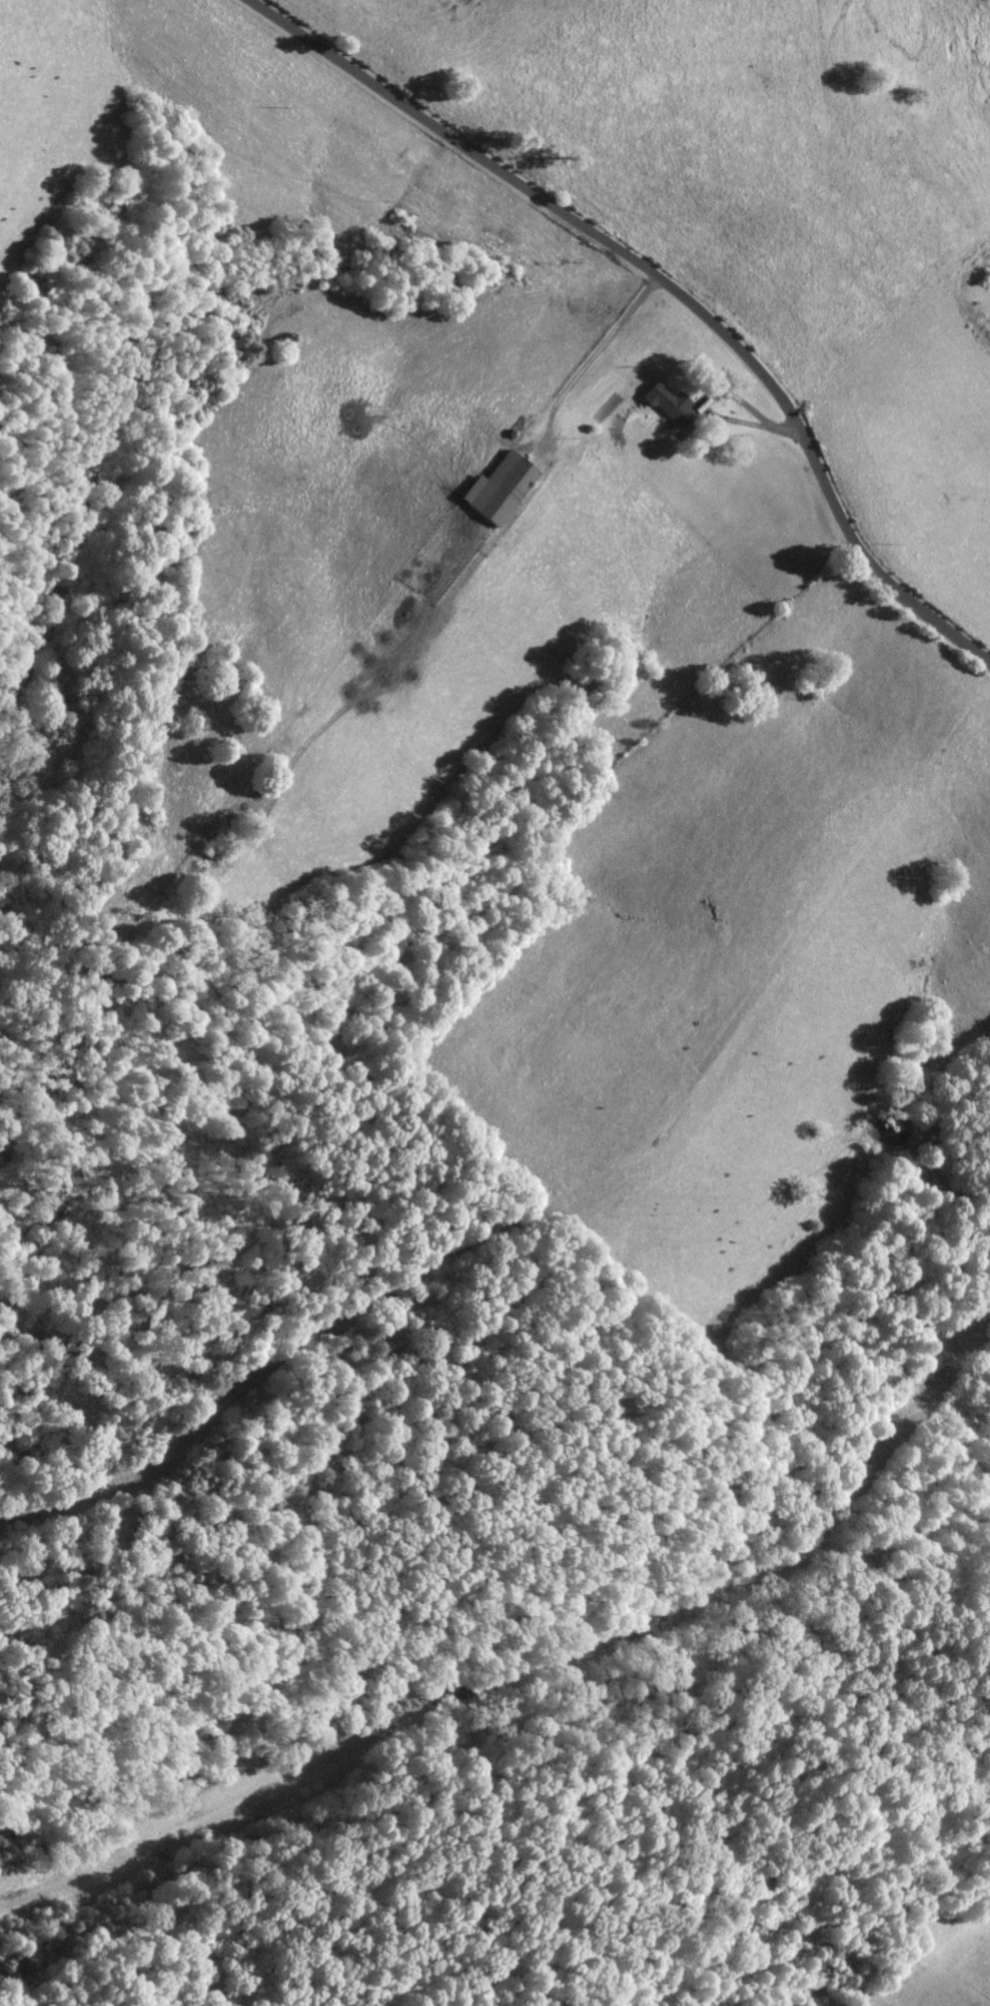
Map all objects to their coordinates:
road: (665, 284)
building: (679, 406)
building: (507, 487)

